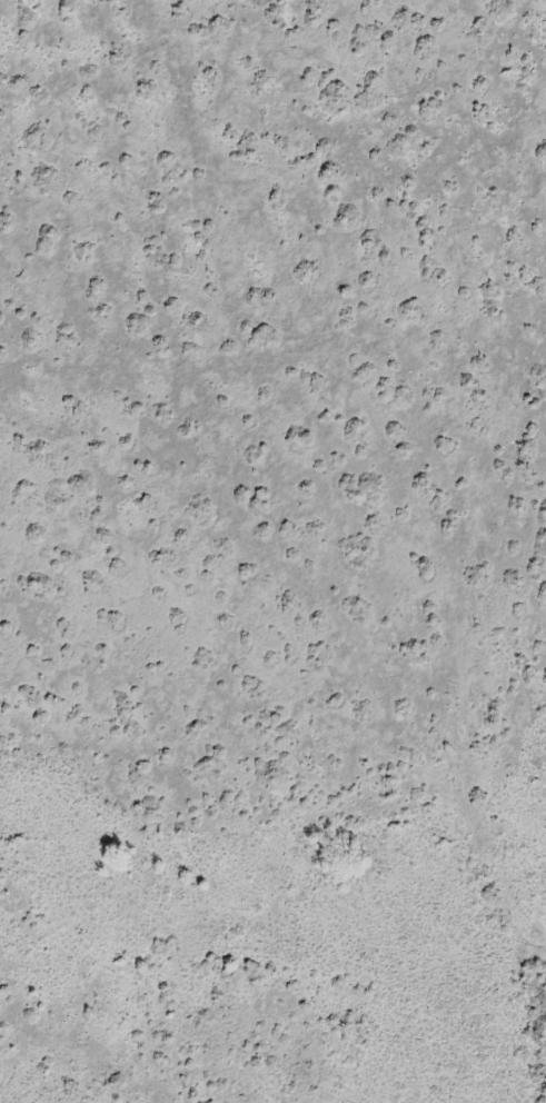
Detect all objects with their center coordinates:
road: (370, 449)

